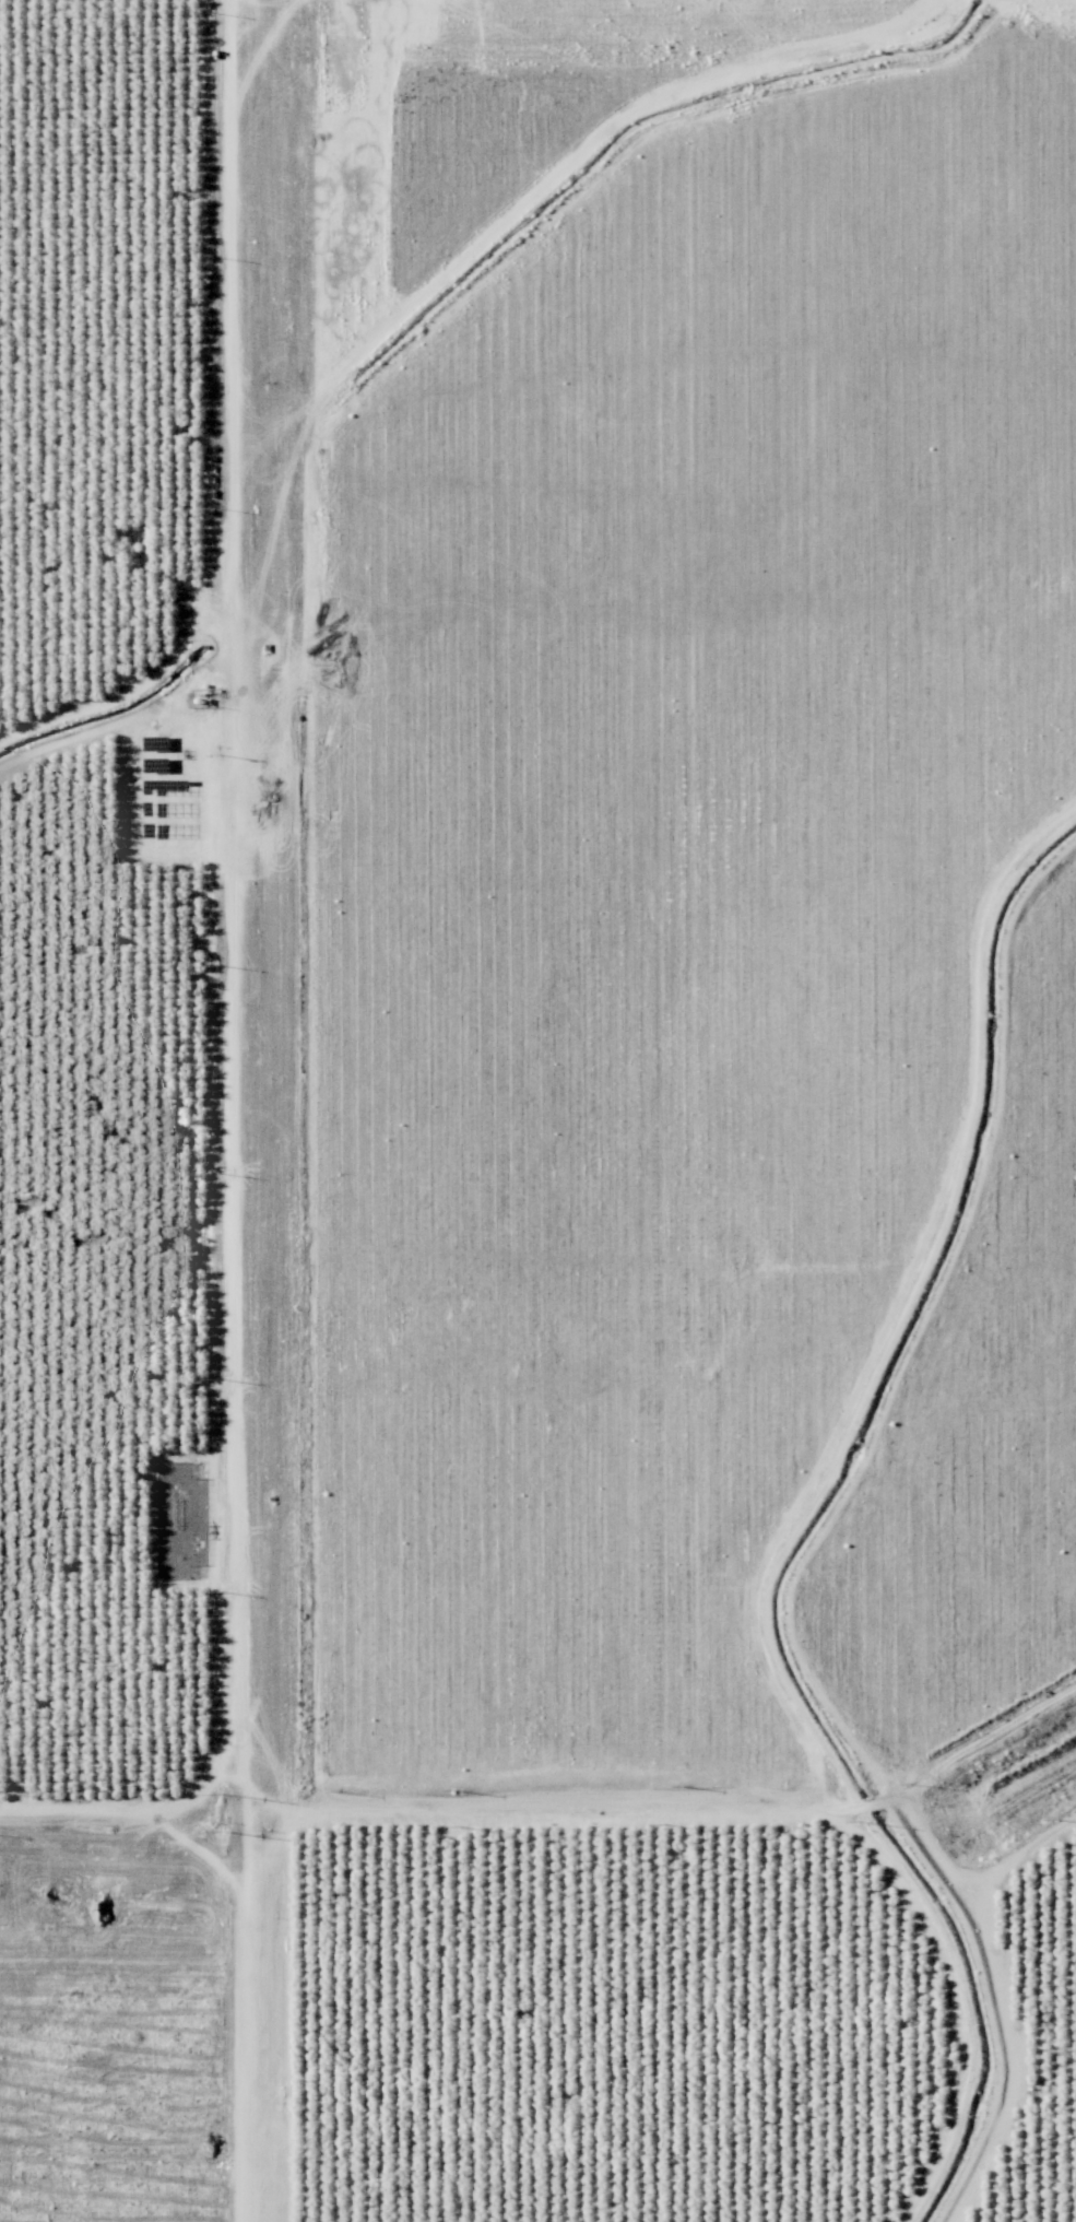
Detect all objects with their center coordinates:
road: (237, 1110)

